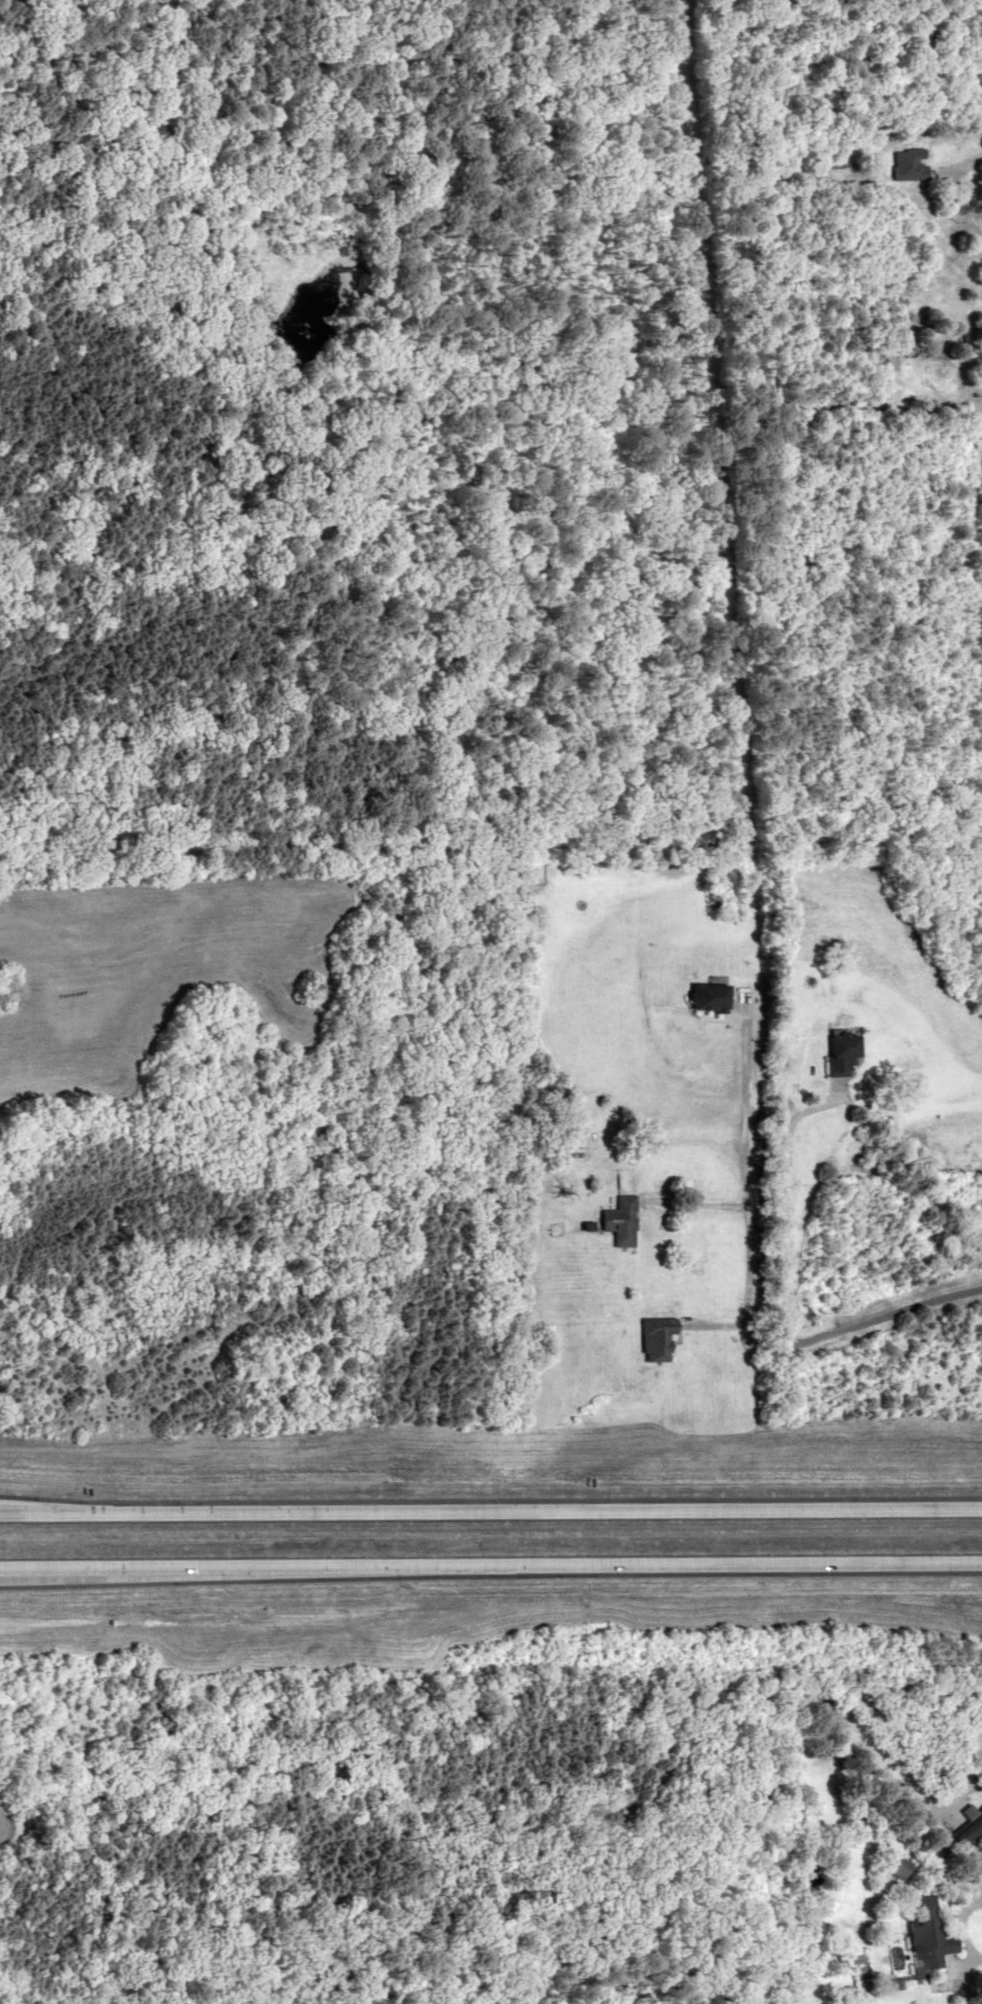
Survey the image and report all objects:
road: (108, 13)
building: (705, 994)
building: (835, 1052)
building: (615, 1220)
road: (781, 1304)
building: (652, 1336)
road: (491, 1512)
road: (491, 1567)
building: (967, 1829)
building: (889, 1868)
building: (925, 1931)

